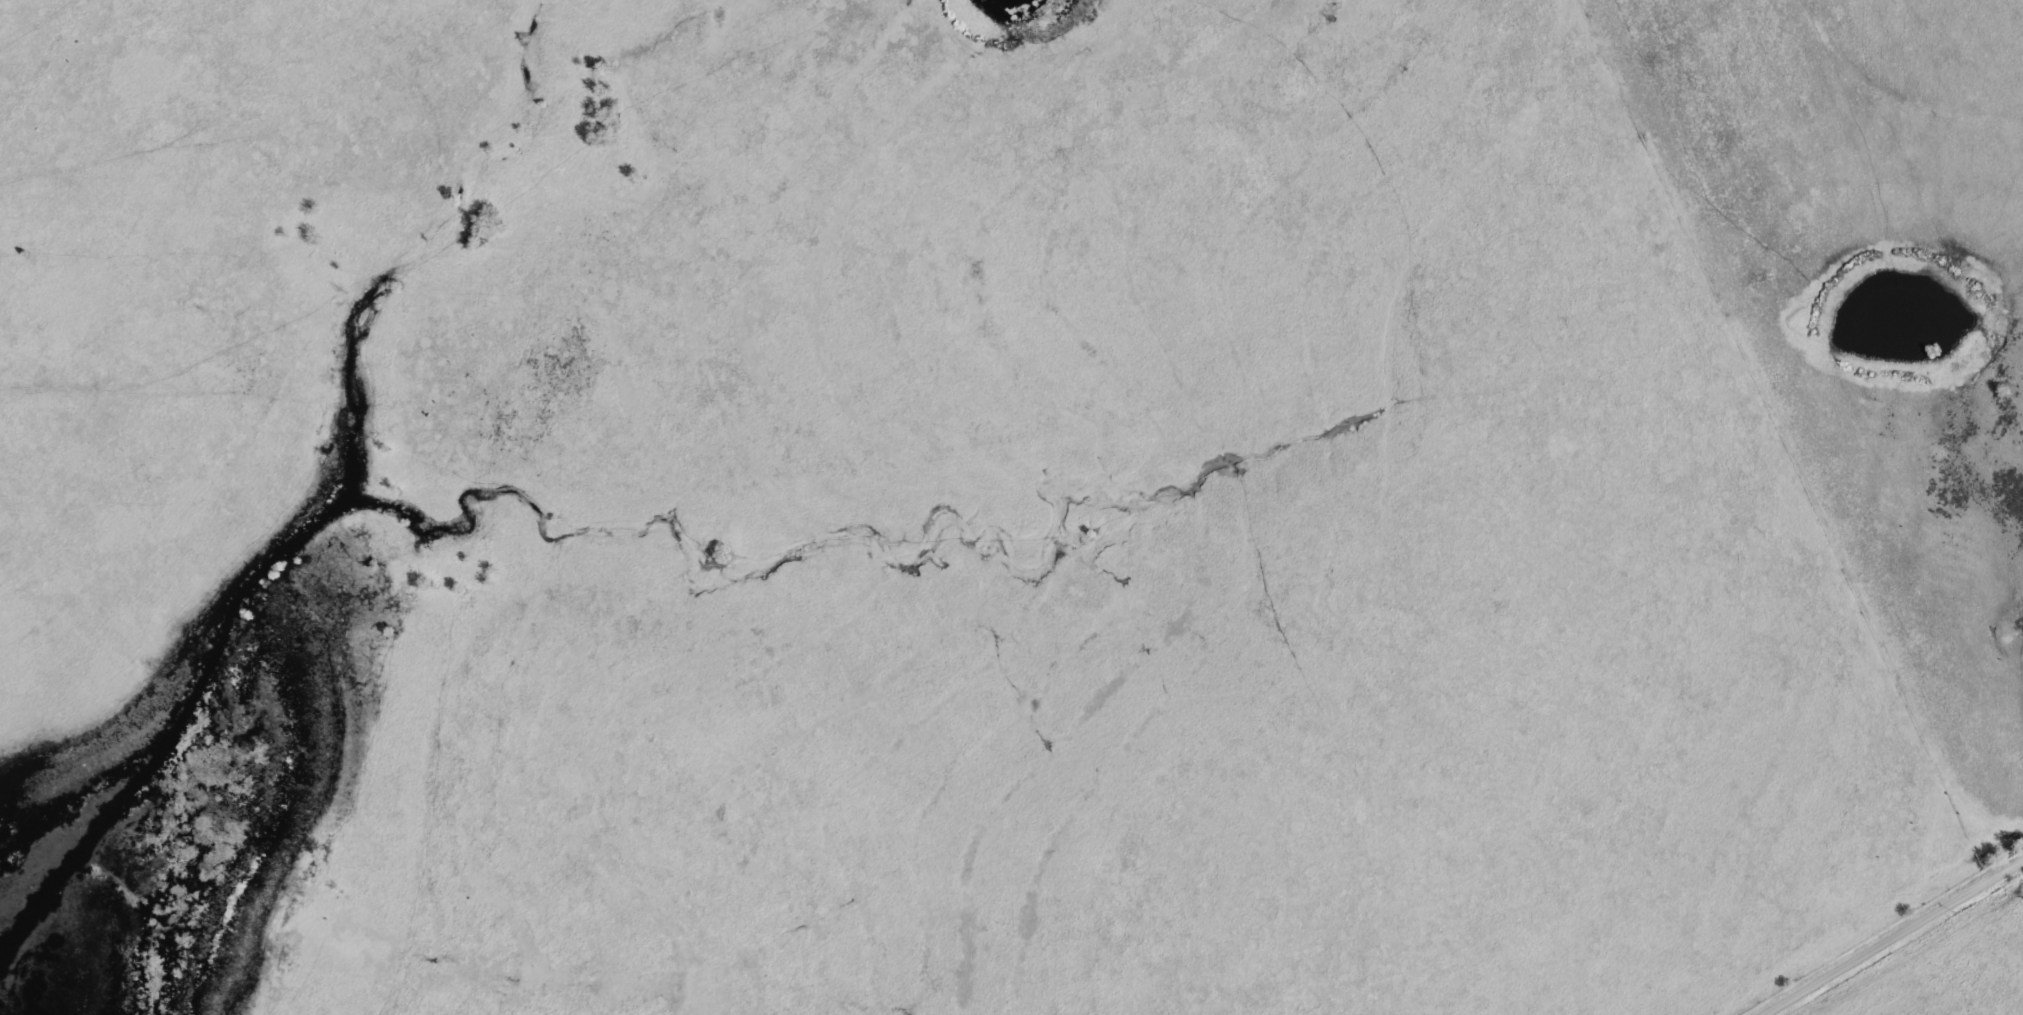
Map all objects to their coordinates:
road: (1881, 82)
road: (1890, 936)

